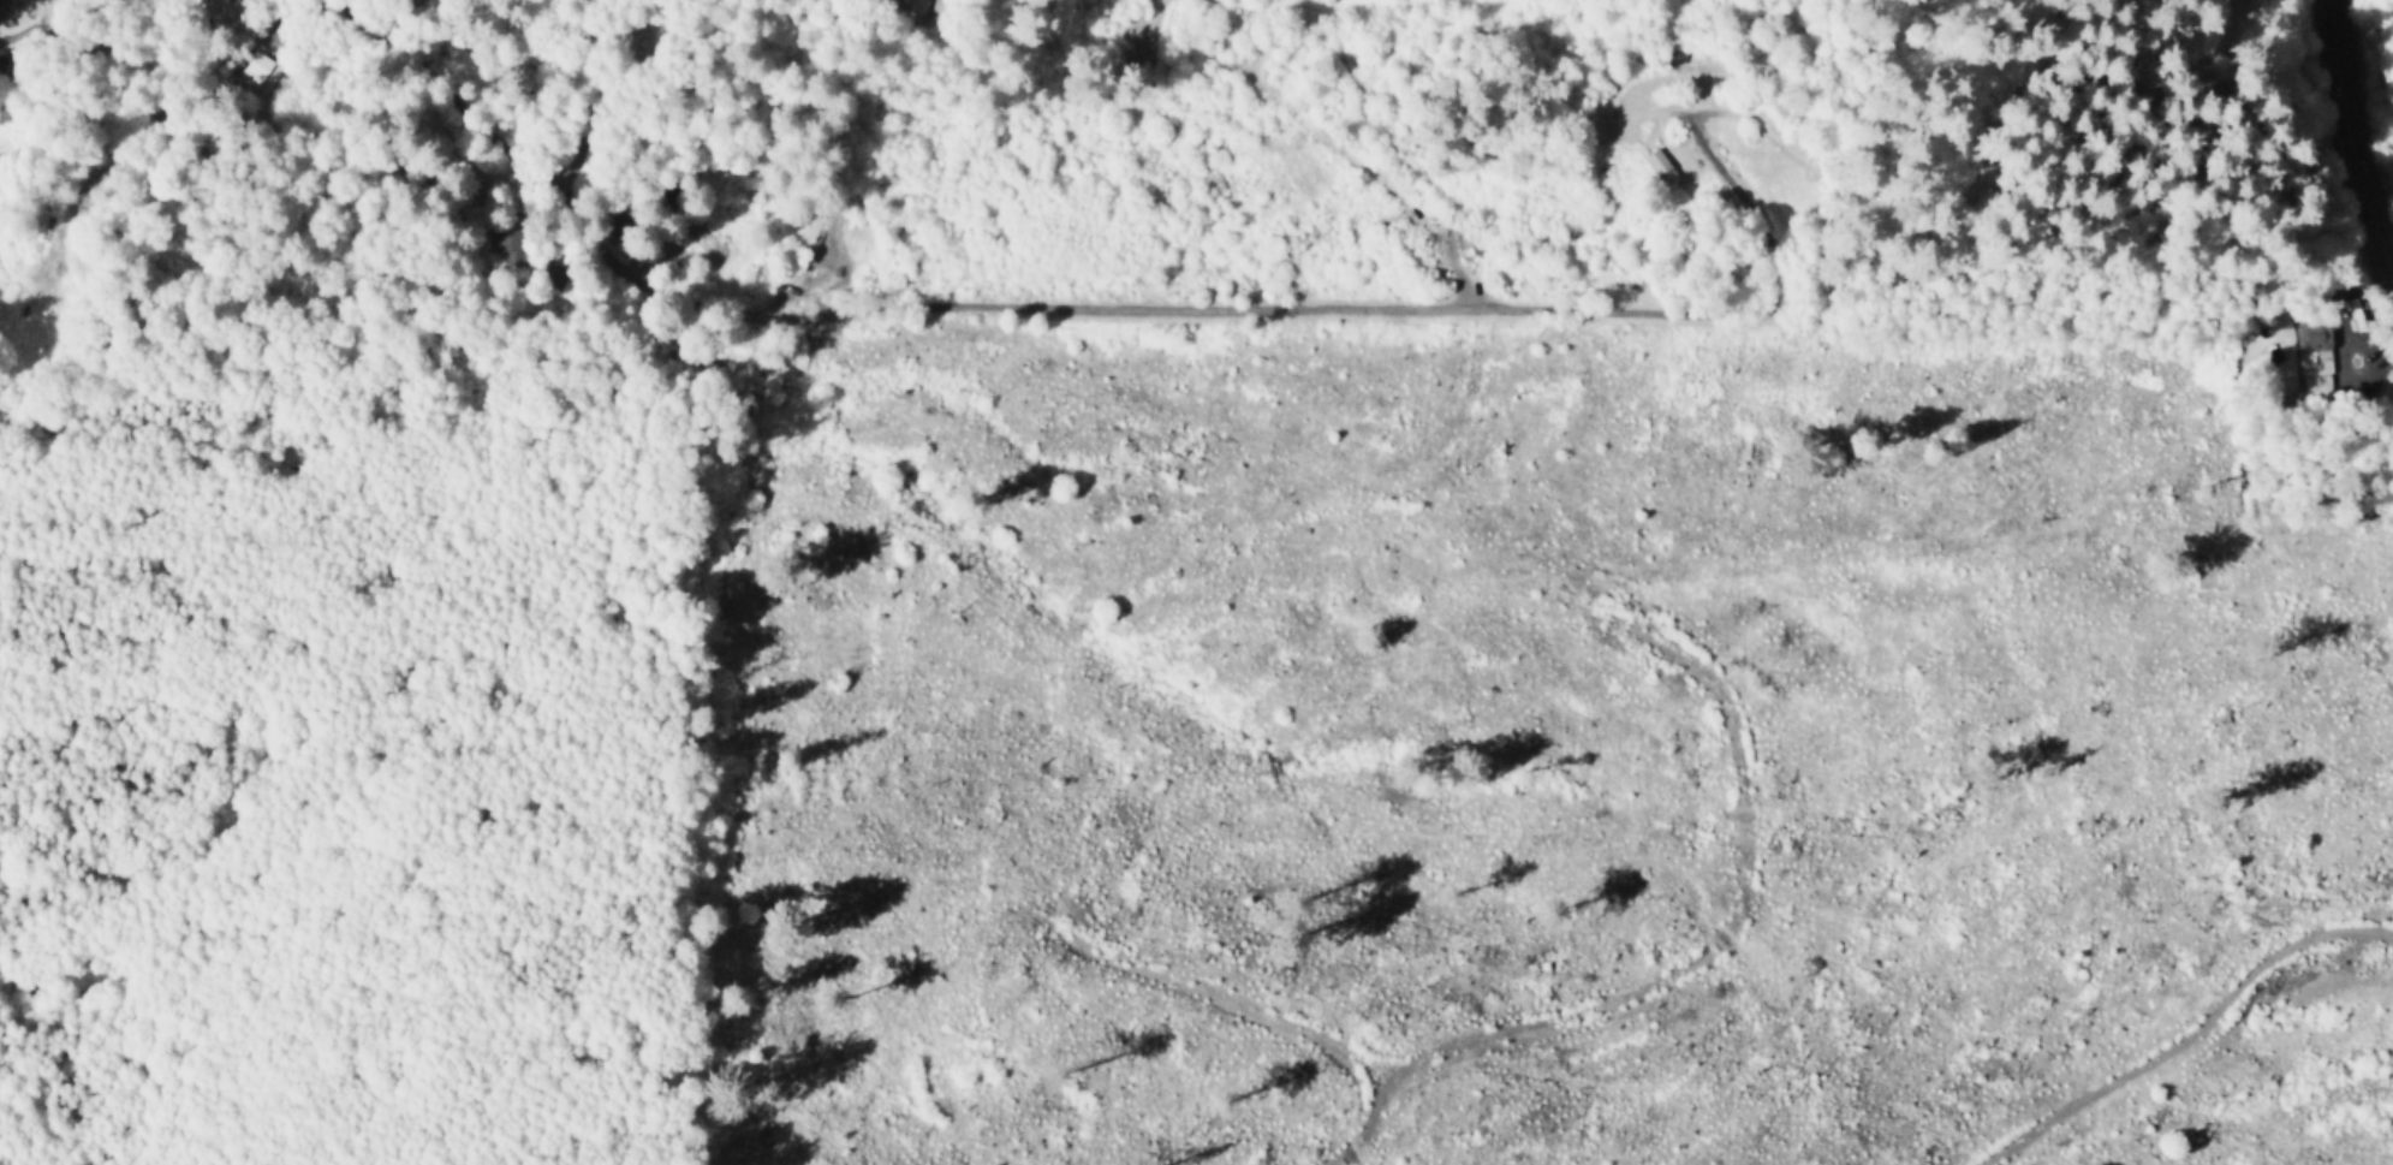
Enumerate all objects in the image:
building: (910, 5)
road: (609, 101)
road: (2367, 119)
road: (120, 155)
building: (1661, 165)
road: (1112, 314)
building: (2321, 364)

